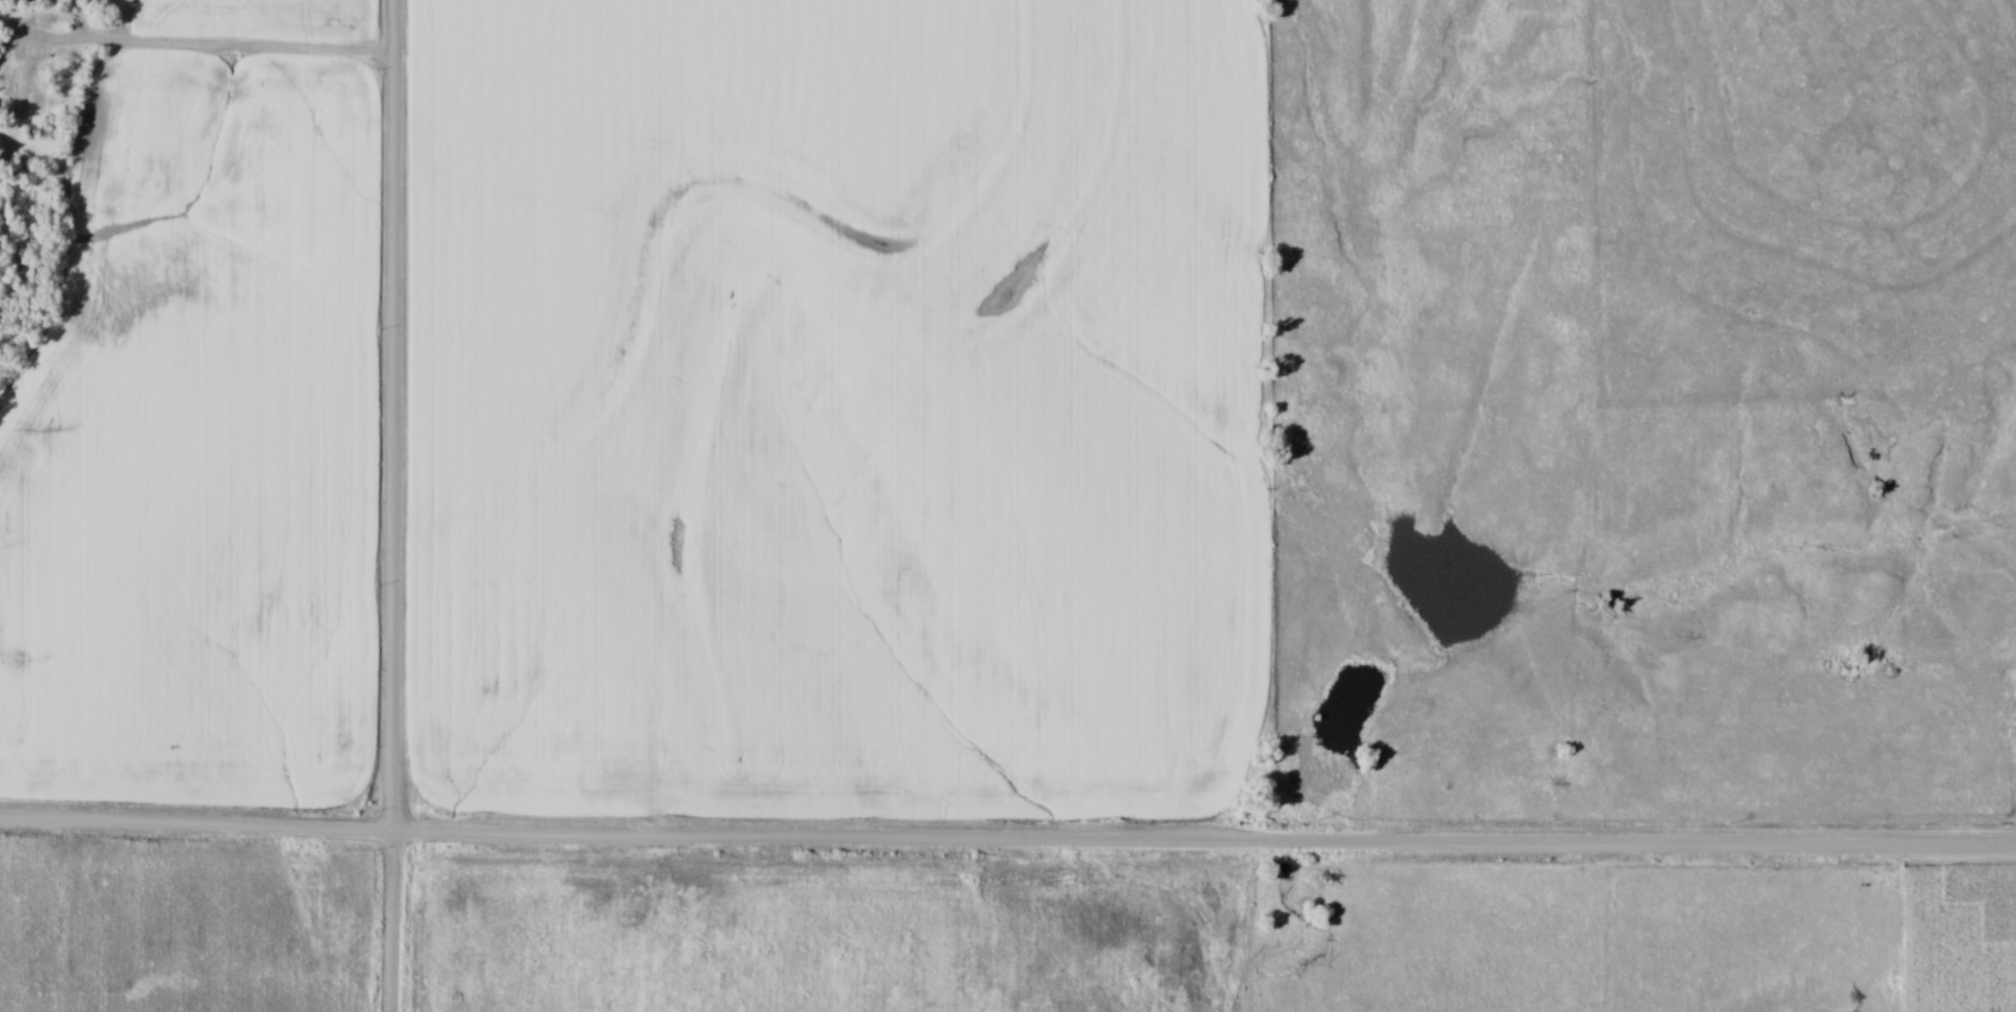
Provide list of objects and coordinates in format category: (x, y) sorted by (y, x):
building: (95, 2)
building: (0, 43)
road: (239, 45)
building: (0, 139)
road: (390, 506)
road: (1007, 838)

